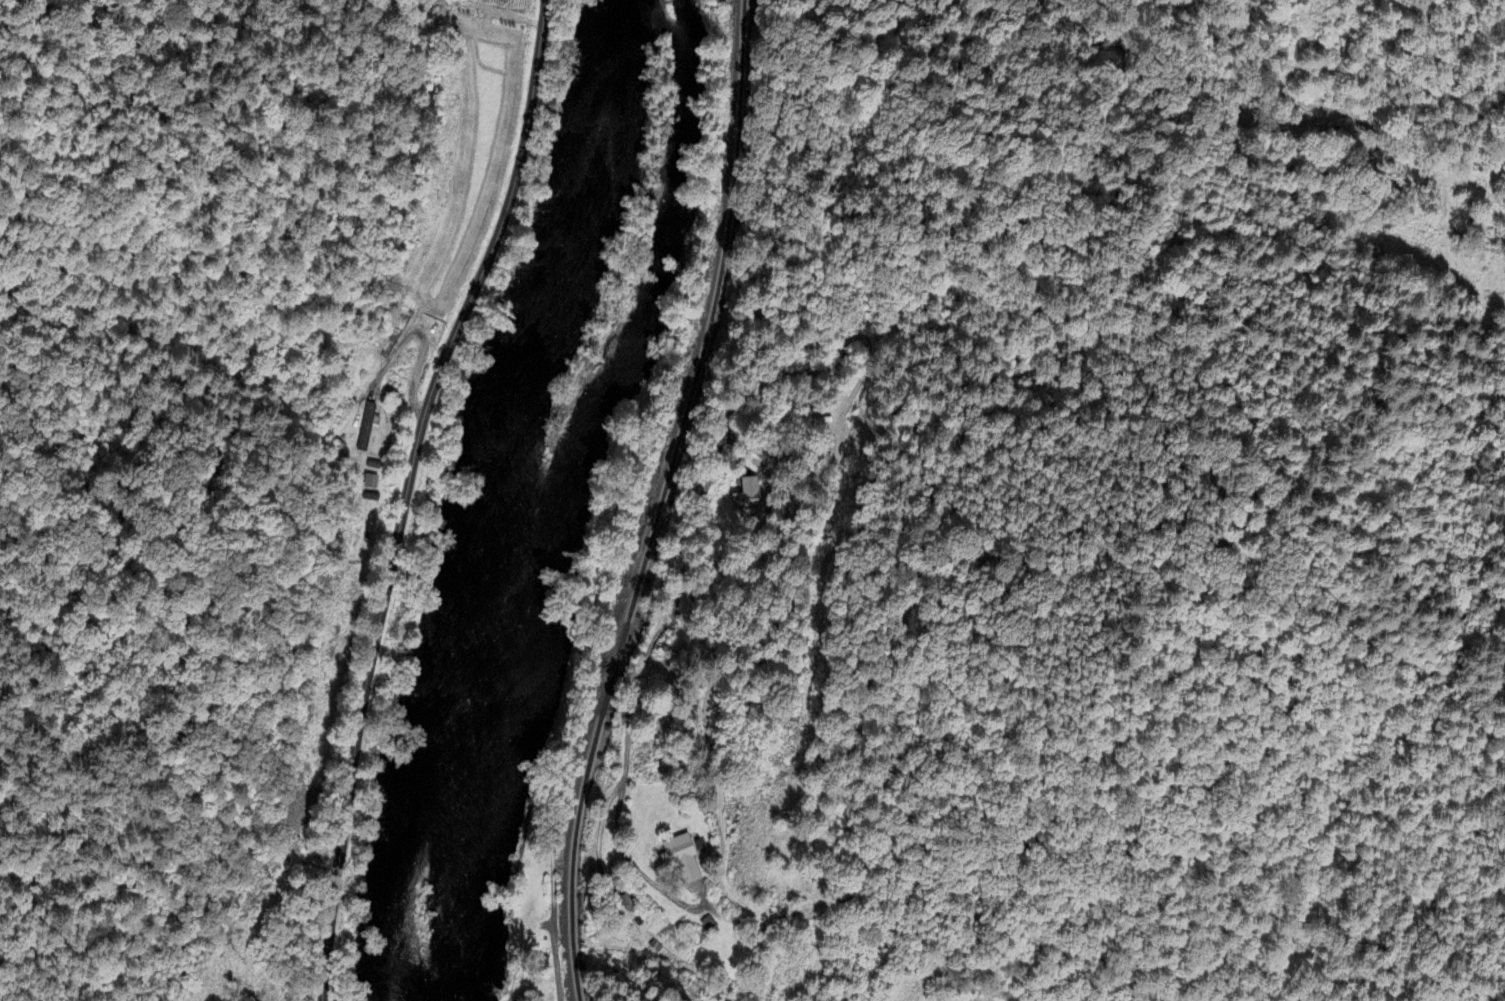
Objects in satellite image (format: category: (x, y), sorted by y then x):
building: (368, 427)
building: (369, 482)
river: (497, 490)
road: (406, 493)
building: (749, 495)
railway: (660, 502)
road: (634, 687)
road: (553, 839)
building: (682, 858)
building: (626, 909)

